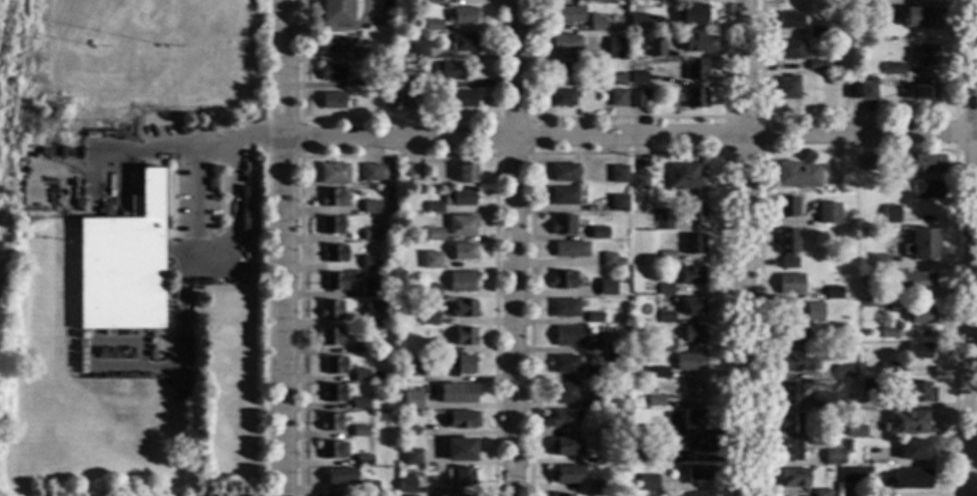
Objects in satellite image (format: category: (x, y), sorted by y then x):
building: (596, 0)
building: (660, 0)
building: (433, 1)
building: (872, 7)
building: (336, 12)
building: (693, 14)
building: (565, 15)
building: (461, 16)
building: (921, 17)
building: (597, 21)
building: (637, 21)
building: (789, 21)
building: (433, 25)
building: (815, 31)
building: (391, 37)
building: (564, 42)
building: (89, 43)
building: (462, 43)
building: (697, 43)
building: (332, 45)
building: (157, 46)
building: (614, 47)
building: (655, 48)
building: (788, 50)
building: (418, 51)
building: (633, 52)
building: (369, 53)
building: (925, 55)
building: (815, 65)
building: (894, 68)
building: (564, 70)
building: (694, 70)
building: (448, 71)
building: (331, 73)
building: (638, 78)
building: (616, 79)
building: (369, 81)
building: (412, 81)
building: (787, 88)
building: (868, 89)
building: (581, 90)
building: (851, 90)
building: (923, 90)
building: (563, 98)
building: (617, 98)
building: (637, 98)
building: (694, 98)
building: (406, 99)
building: (461, 99)
building: (390, 100)
building: (332, 101)
road: (857, 116)
road: (725, 117)
road: (955, 133)
road: (634, 138)
road: (193, 147)
road: (857, 151)
building: (866, 163)
building: (922, 163)
building: (405, 170)
building: (373, 172)
building: (466, 173)
building: (563, 173)
building: (333, 174)
building: (618, 174)
building: (796, 174)
building: (684, 177)
building: (639, 182)
building: (927, 189)
building: (563, 196)
building: (458, 197)
building: (333, 198)
building: (618, 203)
building: (370, 207)
building: (434, 207)
building: (786, 207)
building: (693, 212)
building: (827, 213)
building: (891, 214)
building: (662, 220)
building: (461, 225)
building: (562, 225)
building: (330, 226)
building: (598, 233)
building: (433, 234)
building: (370, 235)
building: (691, 244)
building: (922, 245)
road: (290, 247)
road: (514, 247)
building: (787, 247)
road: (744, 248)
road: (974, 248)
building: (569, 249)
building: (462, 251)
building: (334, 254)
road: (190, 256)
building: (666, 257)
building: (429, 260)
building: (609, 260)
building: (369, 263)
building: (880, 263)
building: (122, 264)
building: (690, 276)
building: (561, 280)
building: (334, 281)
building: (916, 281)
building: (461, 282)
building: (789, 284)
building: (605, 287)
building: (369, 289)
building: (665, 289)
building: (430, 291)
building: (833, 293)
building: (876, 296)
building: (864, 302)
building: (692, 306)
building: (564, 308)
building: (330, 309)
building: (462, 309)
building: (813, 311)
building: (376, 312)
building: (917, 316)
building: (665, 317)
building: (428, 318)
building: (593, 318)
building: (785, 332)
building: (804, 332)
building: (889, 333)
building: (693, 334)
building: (463, 336)
building: (568, 336)
building: (330, 337)
building: (606, 342)
building: (805, 342)
building: (665, 344)
building: (429, 345)
building: (357, 348)
building: (918, 351)
building: (795, 361)
building: (689, 362)
building: (563, 364)
building: (333, 365)
building: (458, 365)
building: (411, 366)
building: (889, 368)
building: (654, 372)
building: (843, 372)
building: (592, 373)
building: (361, 375)
building: (383, 377)
building: (639, 387)
building: (867, 387)
building: (692, 391)
building: (920, 392)
building: (333, 393)
building: (562, 393)
building: (789, 393)
building: (456, 394)
building: (622, 394)
building: (411, 400)
building: (599, 400)
building: (824, 400)
building: (655, 401)
building: (359, 403)
building: (403, 416)
building: (461, 419)
building: (563, 419)
building: (693, 419)
building: (329, 422)
building: (905, 422)
building: (789, 423)
building: (651, 428)
building: (834, 428)
building: (616, 430)
building: (360, 431)
building: (856, 431)
building: (651, 443)
building: (701, 443)
building: (564, 447)
building: (332, 450)
building: (459, 450)
building: (789, 450)
building: (914, 450)
building: (640, 456)
building: (833, 456)
building: (872, 456)
building: (410, 457)
building: (617, 459)
building: (363, 460)
building: (699, 472)
building: (565, 474)
building: (854, 475)
building: (339, 476)
building: (458, 478)
building: (793, 478)
building: (908, 479)
building: (647, 483)
building: (601, 485)
building: (406, 486)
building: (369, 487)
building: (821, 493)
building: (698, 494)
building: (562, 495)

